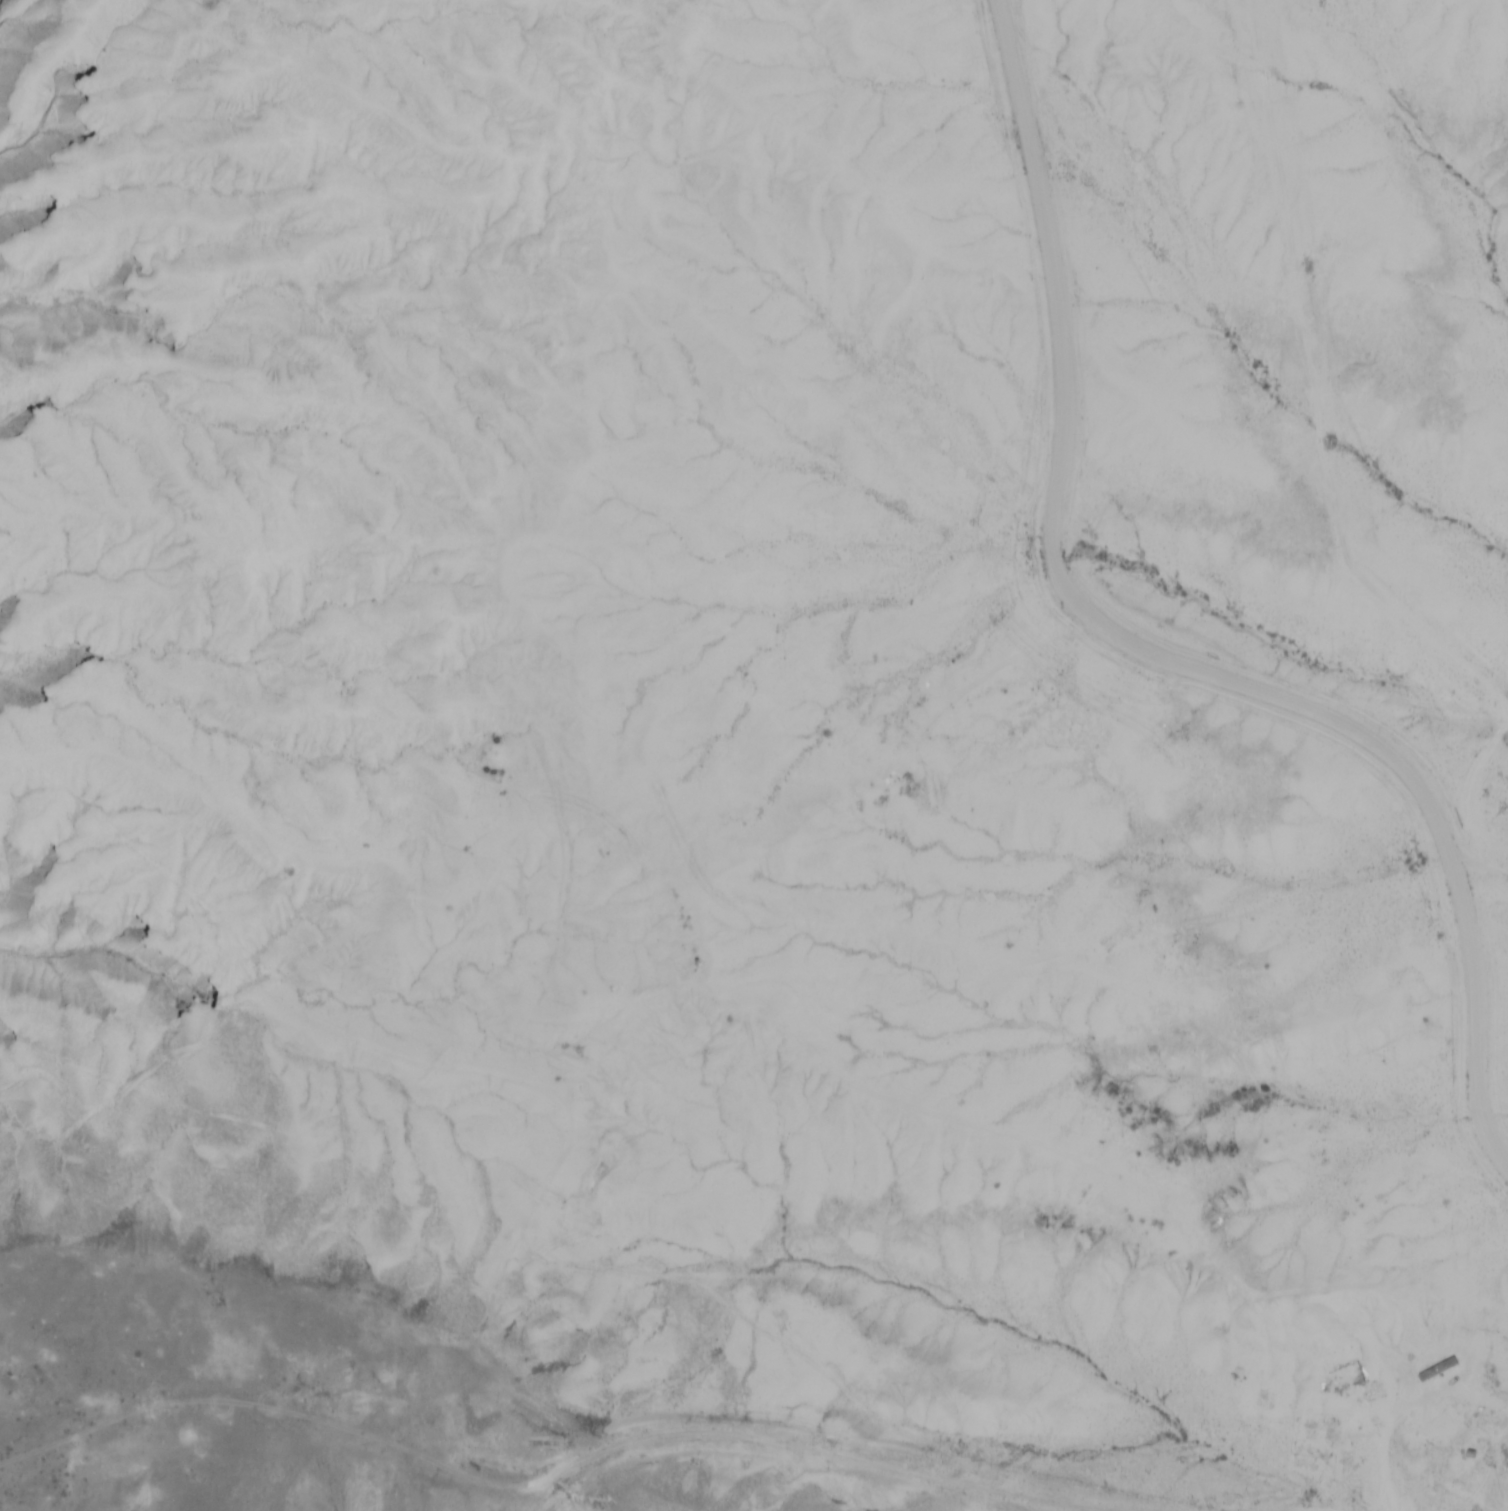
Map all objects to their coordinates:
road: (1036, 4)
road: (1153, 645)
building: (1356, 1455)

